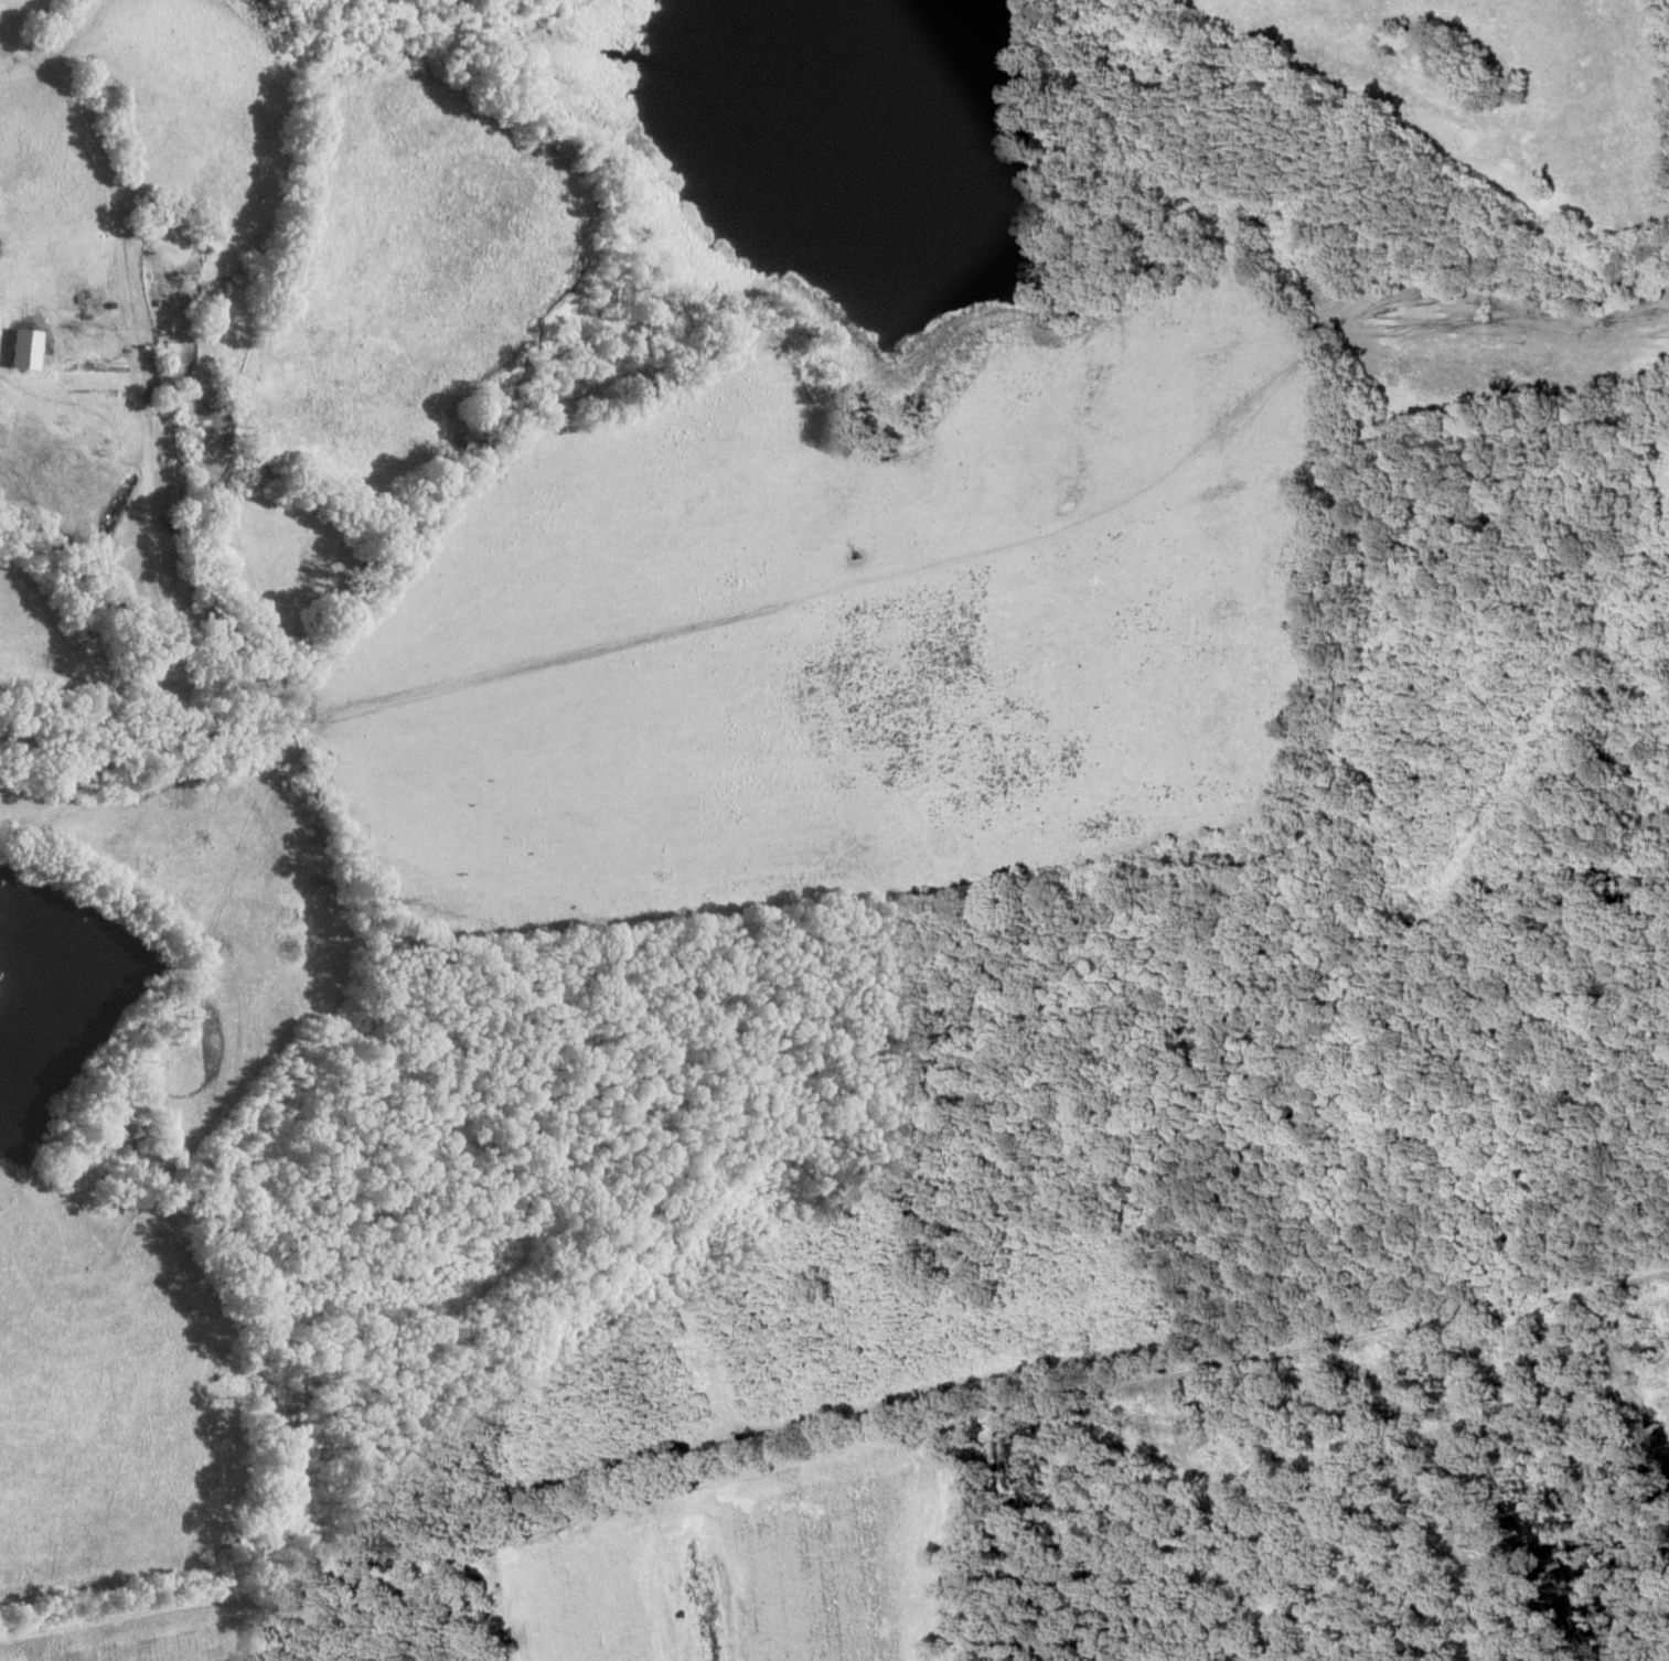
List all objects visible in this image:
road: (51, 30)
building: (81, 342)
building: (22, 351)
road: (318, 1347)

